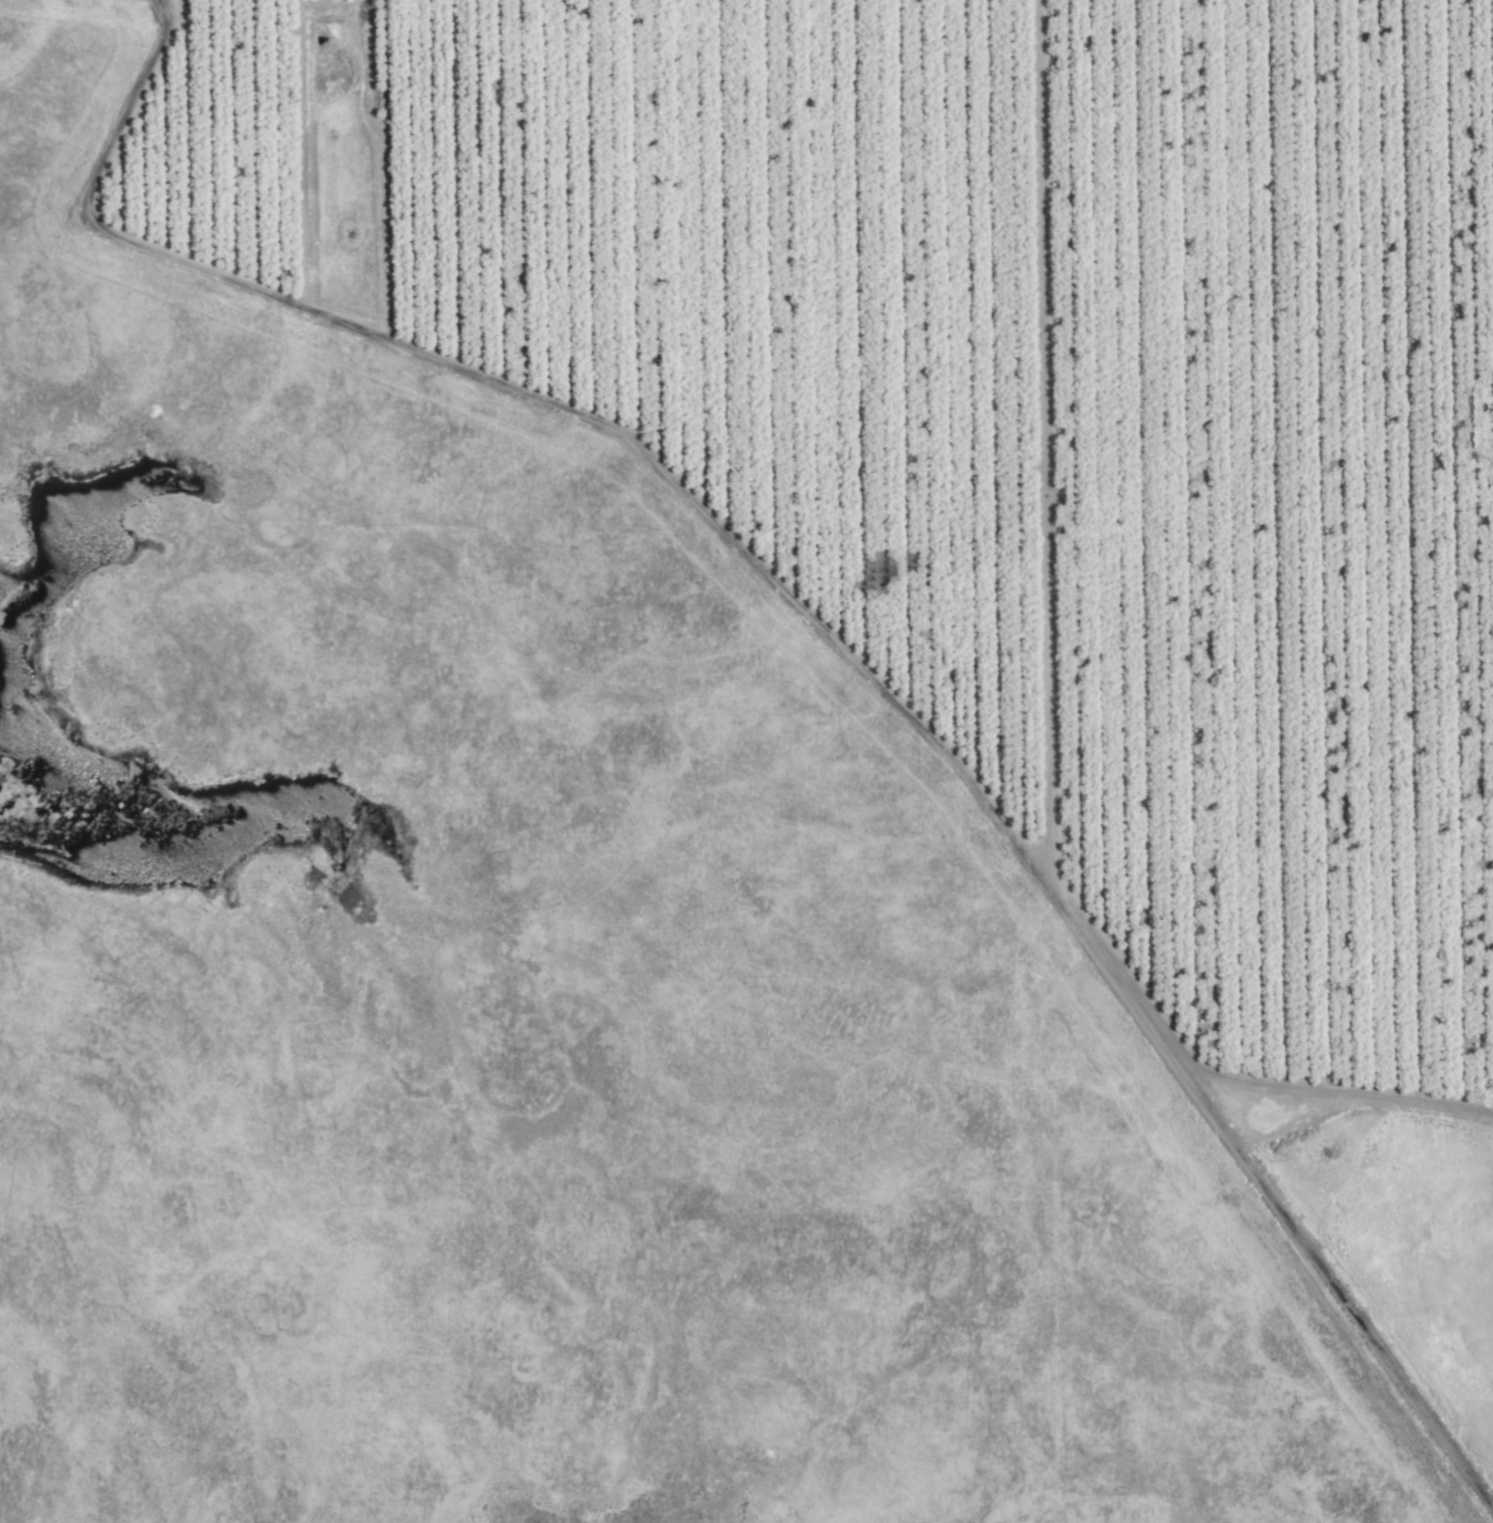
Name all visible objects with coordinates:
crop: (1019, 462)

